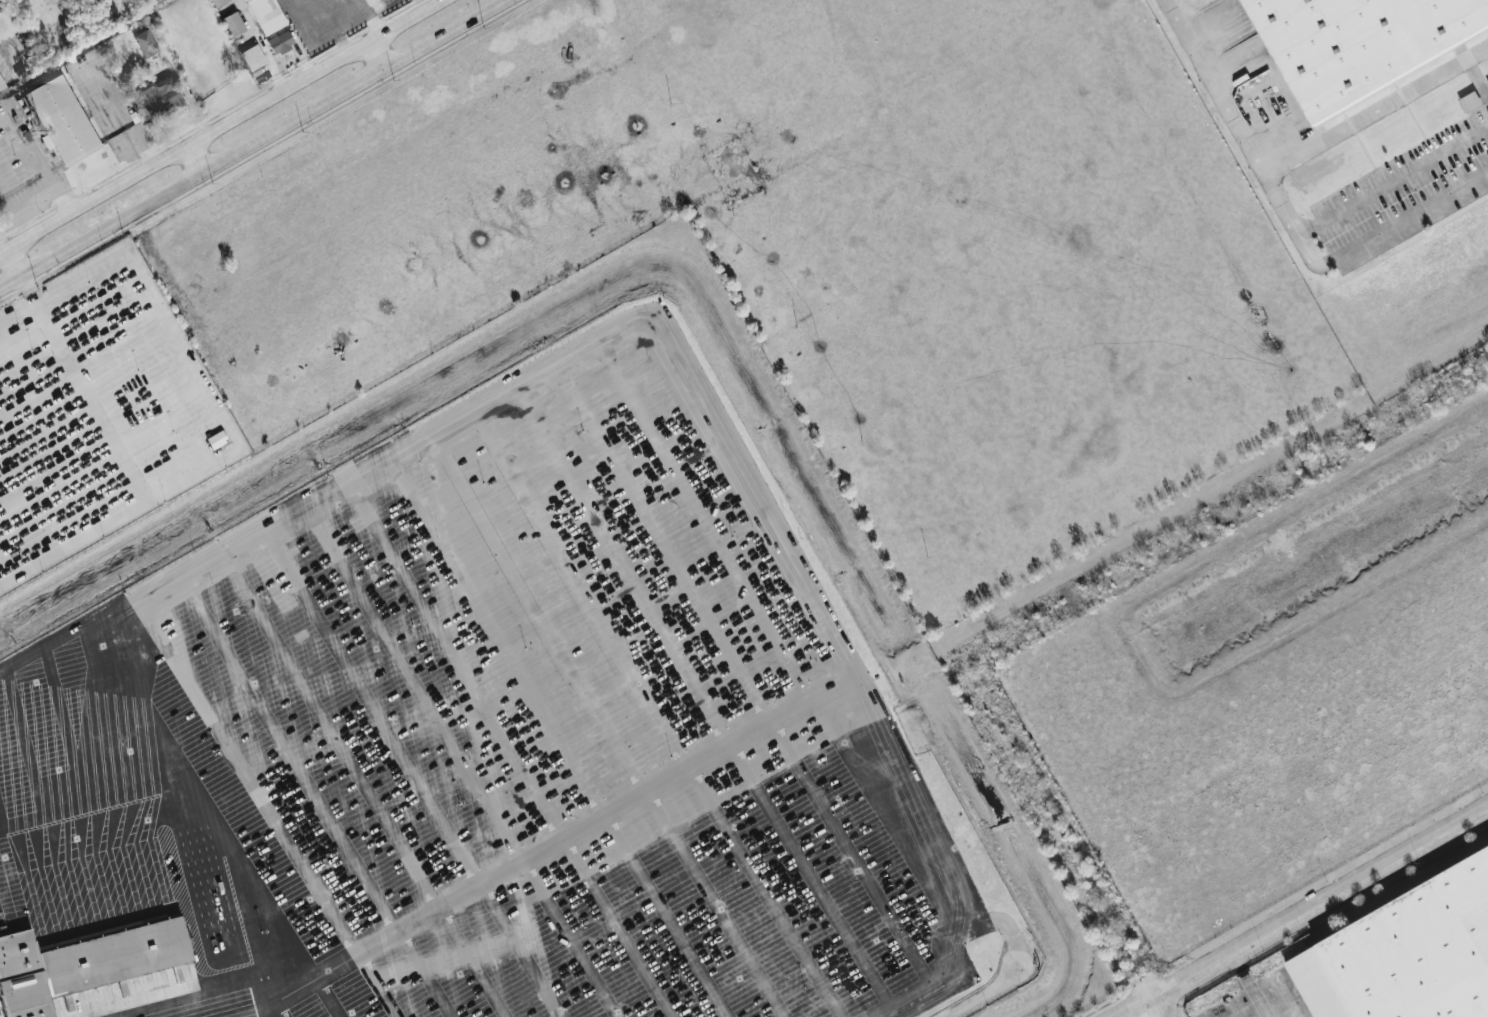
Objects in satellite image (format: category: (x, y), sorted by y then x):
building: (218, 2)
building: (266, 15)
building: (233, 24)
building: (280, 42)
building: (145, 43)
building: (1359, 43)
road: (377, 55)
building: (253, 57)
building: (1487, 83)
building: (1, 84)
building: (160, 97)
building: (1470, 101)
road: (1375, 110)
building: (62, 120)
road: (124, 122)
road: (220, 126)
road: (1239, 133)
road: (254, 145)
road: (195, 160)
road: (41, 166)
road: (1392, 184)
road: (1402, 221)
road: (14, 264)
road: (632, 324)
road: (91, 403)
road: (211, 409)
building: (217, 439)
road: (63, 647)
road: (180, 822)
road: (559, 842)
road: (1305, 913)
building: (1408, 955)
building: (83, 960)
road: (1250, 987)
road: (983, 995)
road: (1160, 1008)

